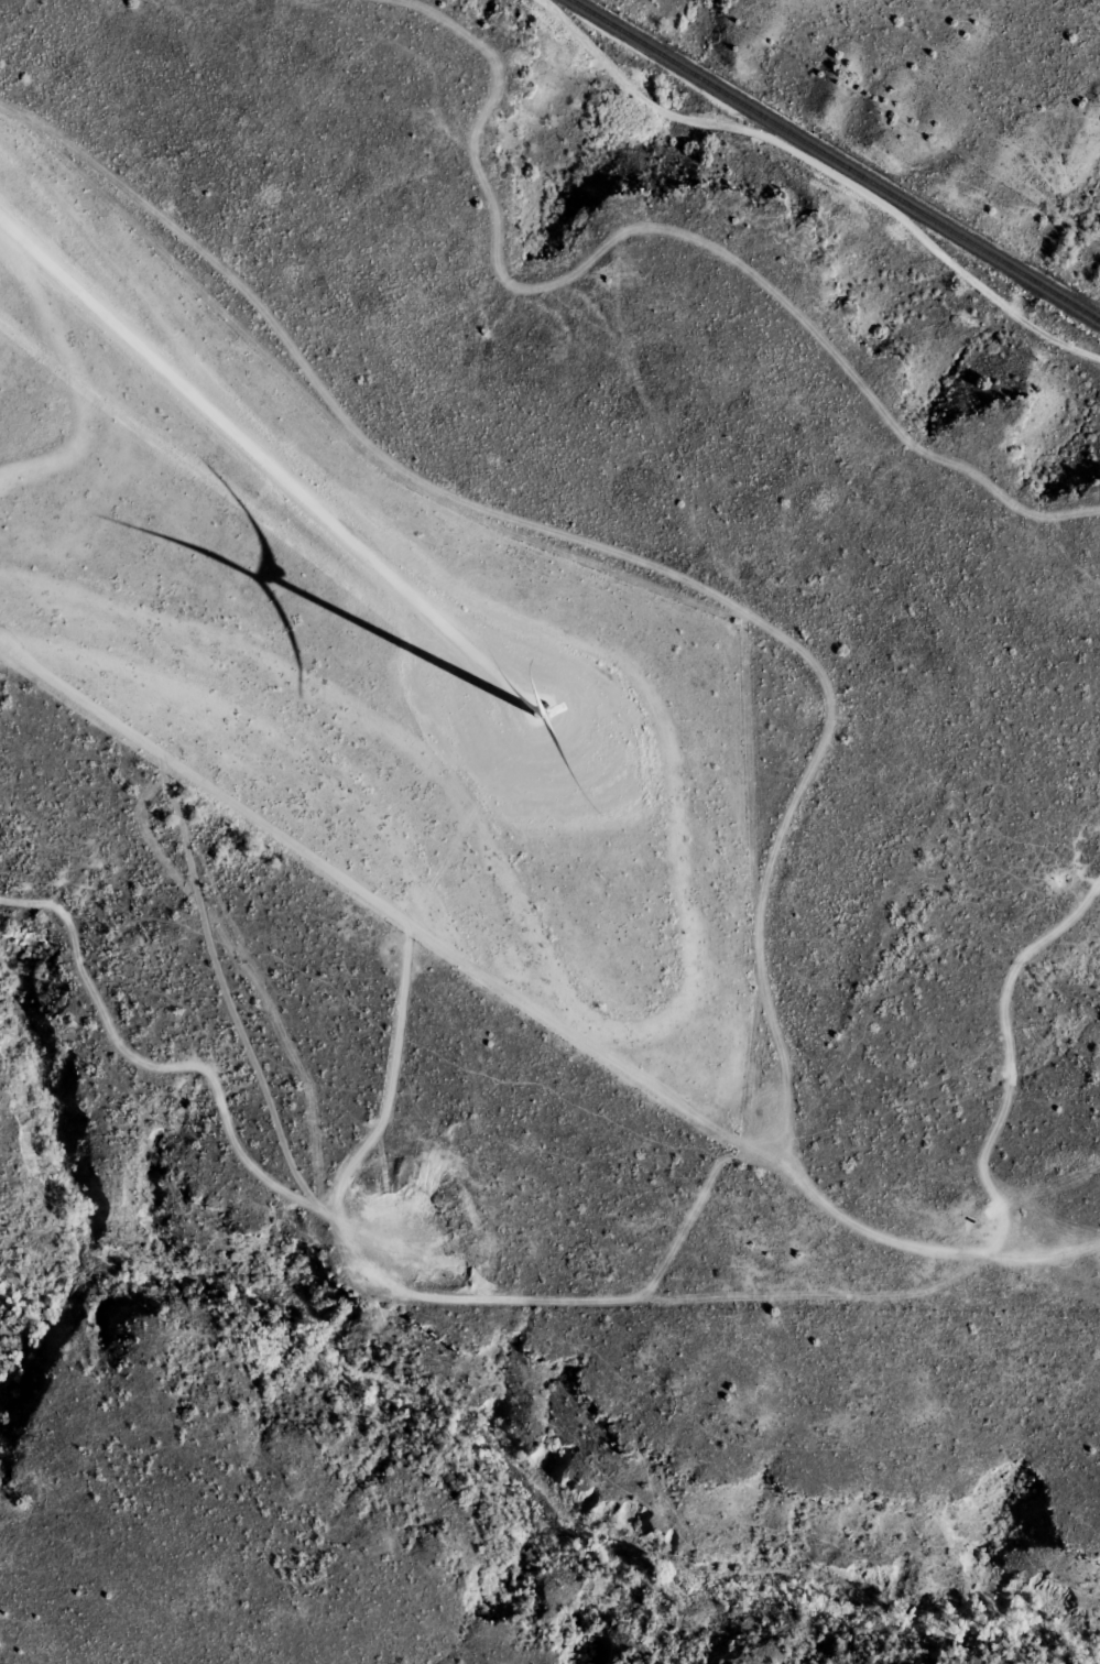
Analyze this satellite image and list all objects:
railway: (836, 160)
wind turbine: (536, 707)

